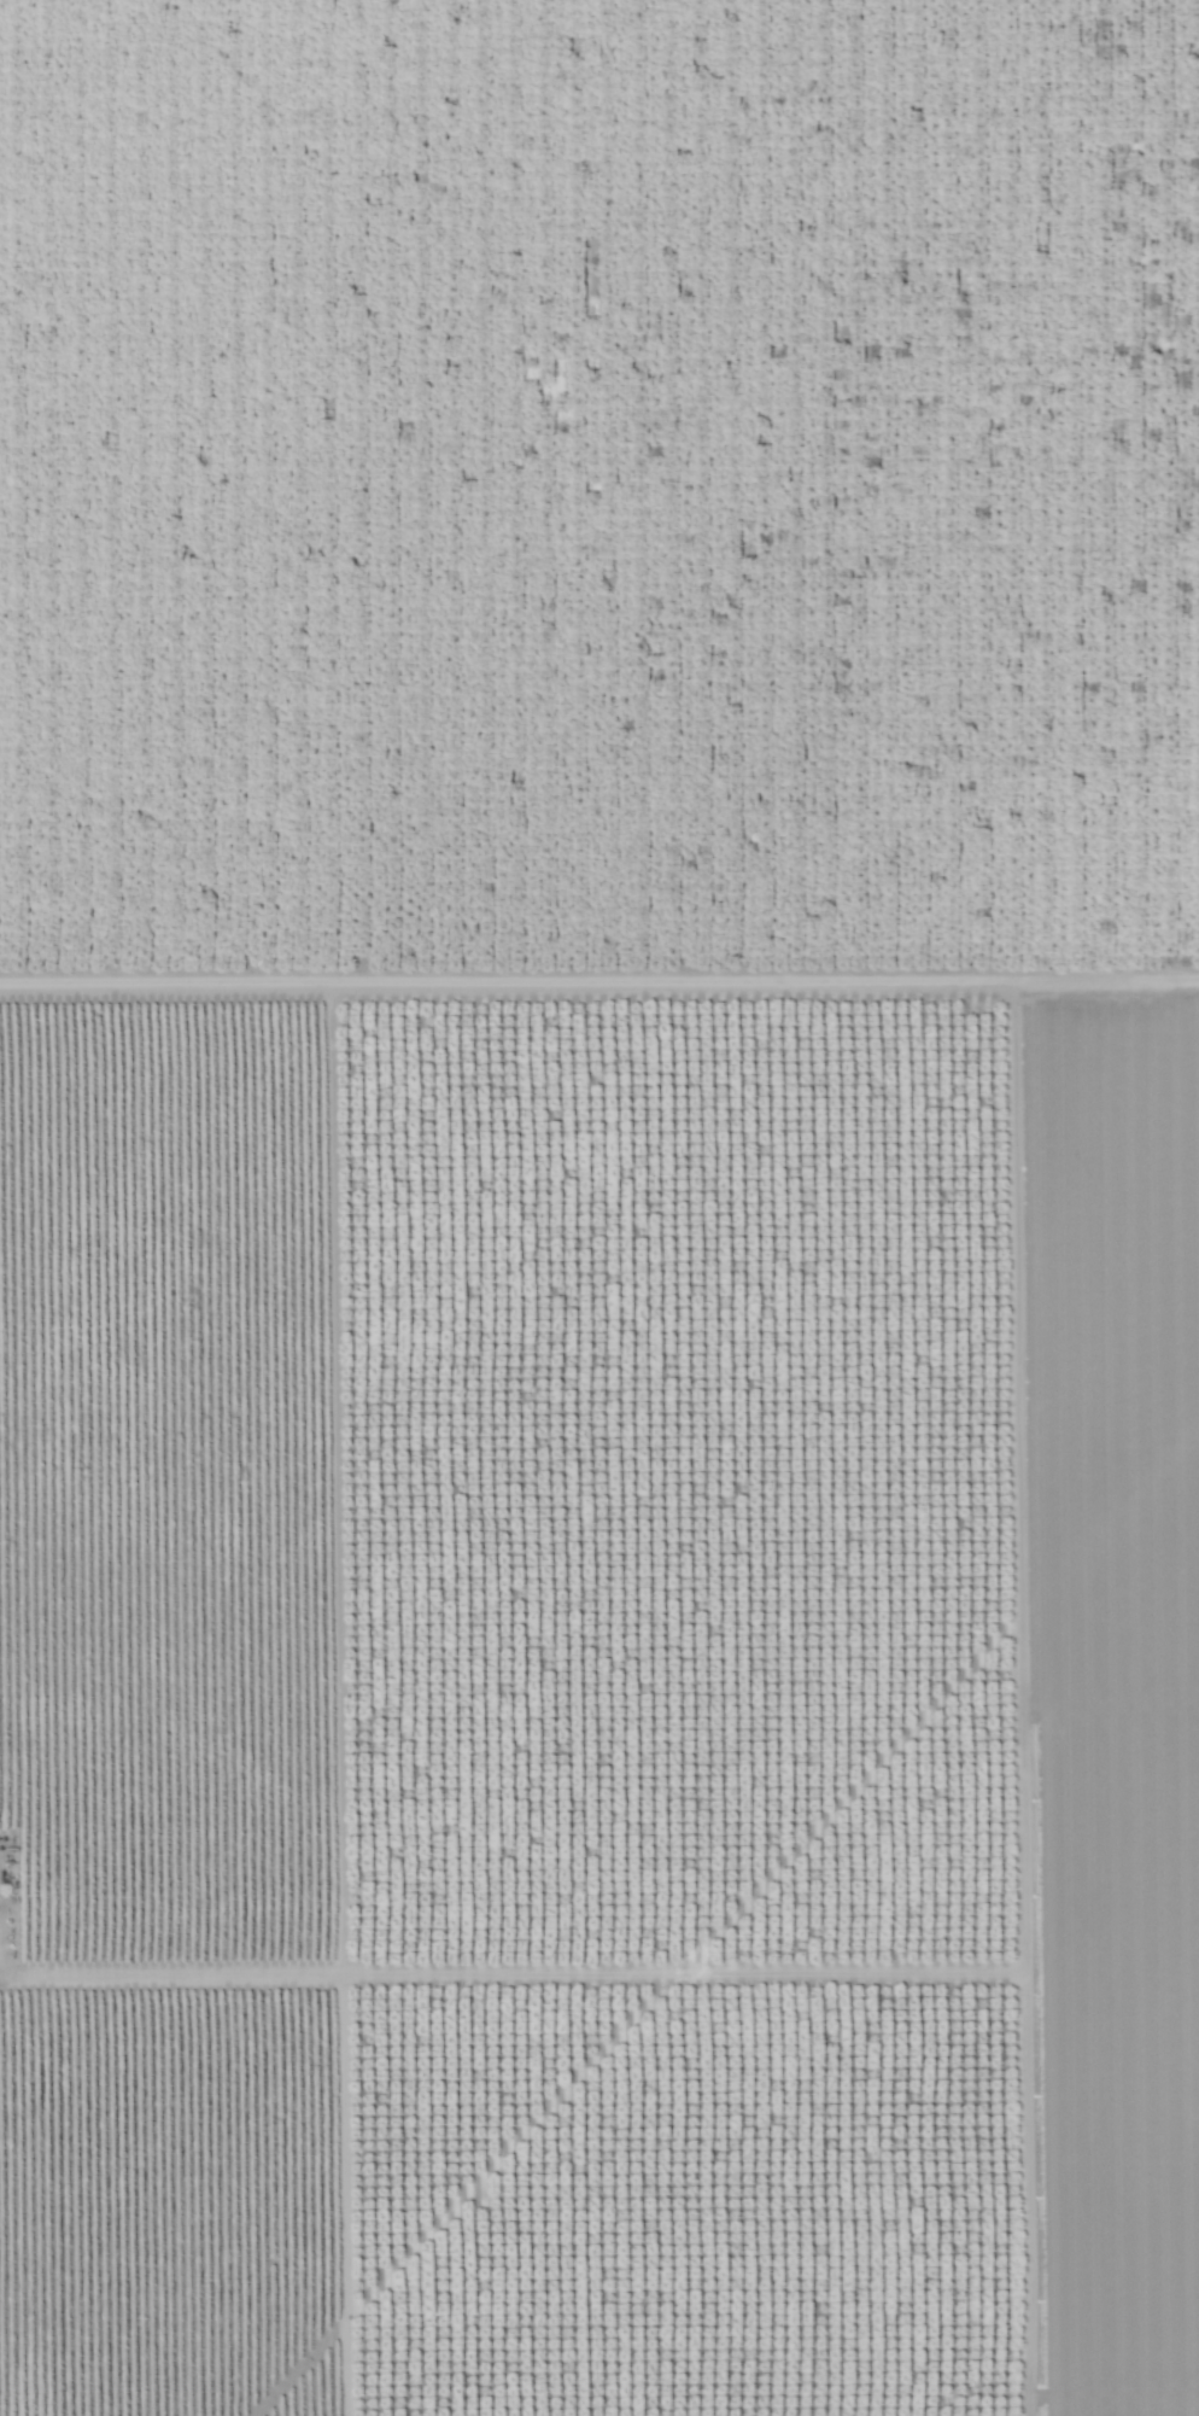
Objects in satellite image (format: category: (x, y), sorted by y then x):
crop: (598, 1208)

